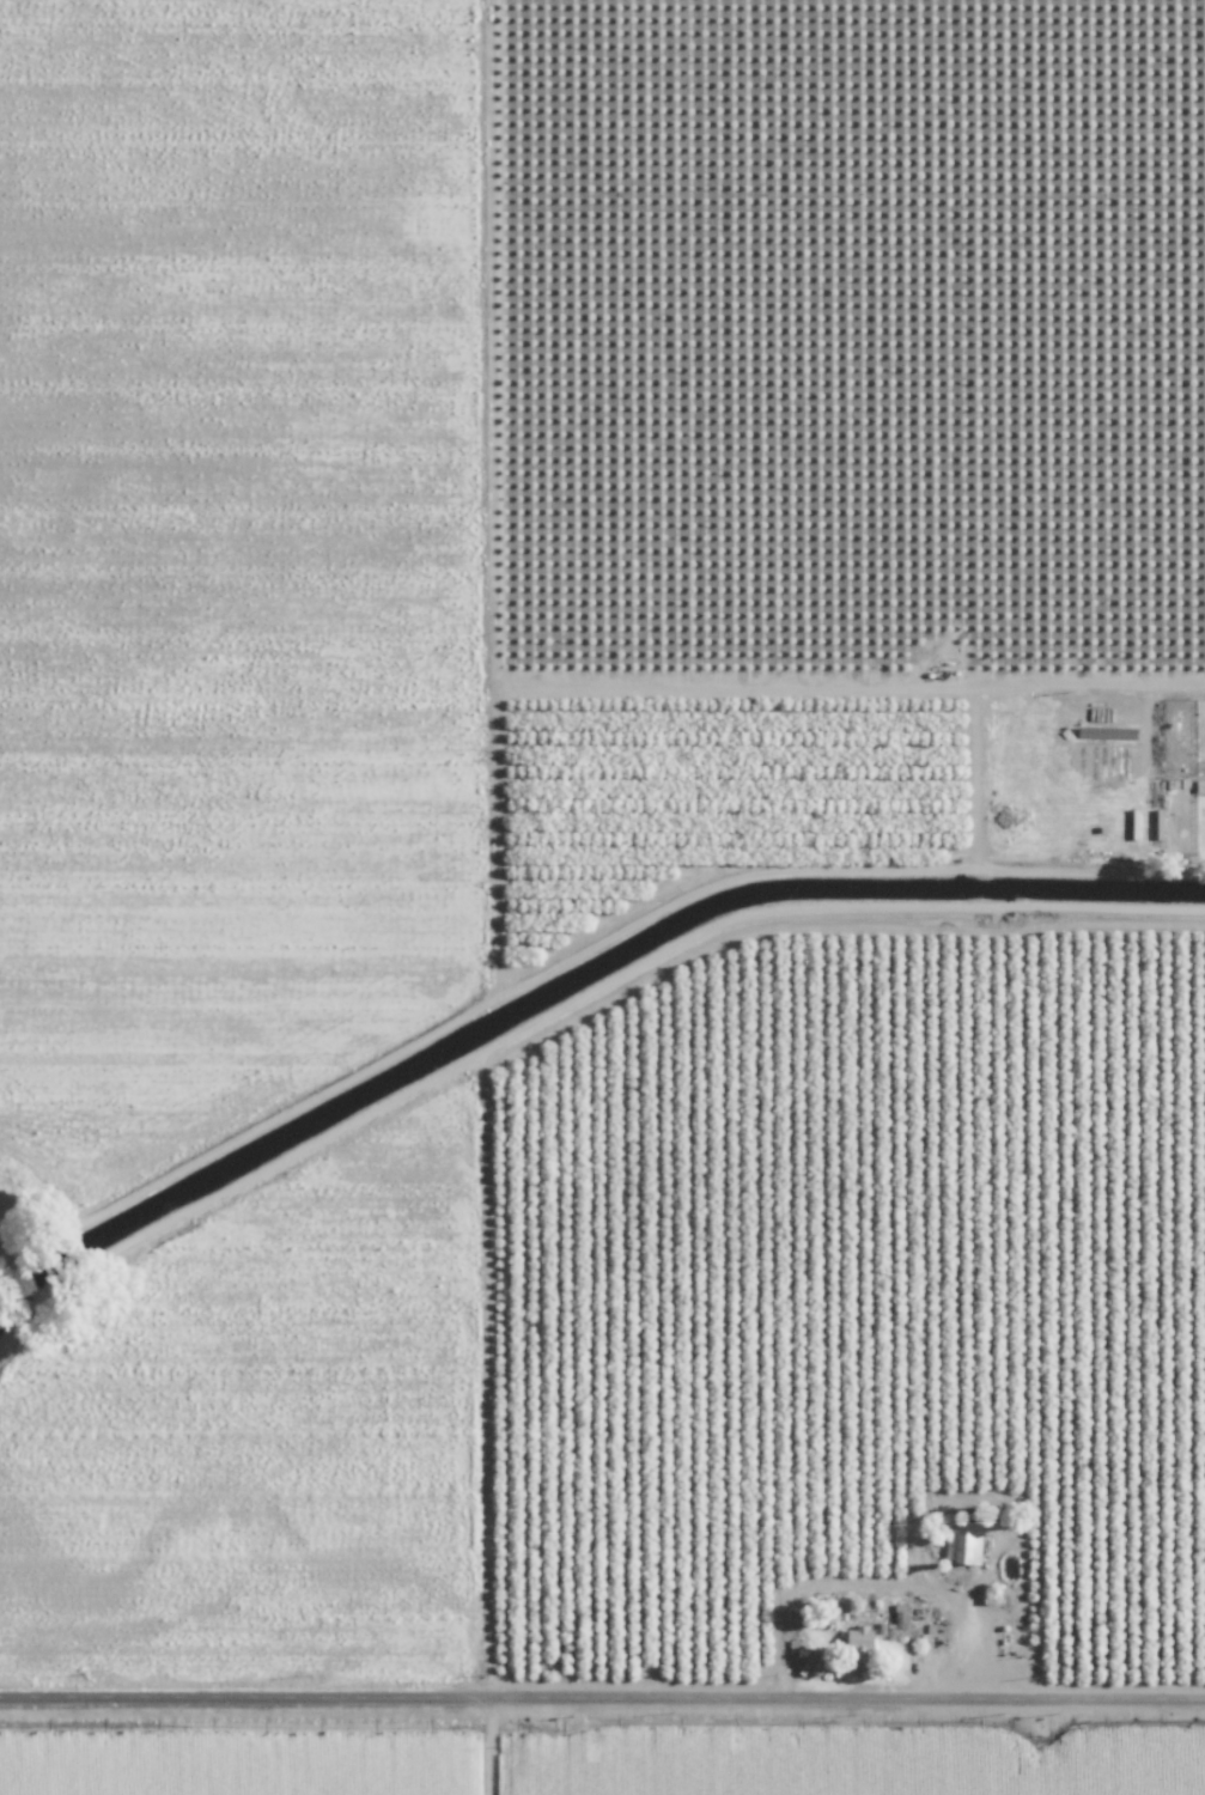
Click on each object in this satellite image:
crop: (602, 898)
road: (565, 1015)
road: (474, 1383)
building: (964, 1545)
building: (862, 1644)
road: (602, 1700)

